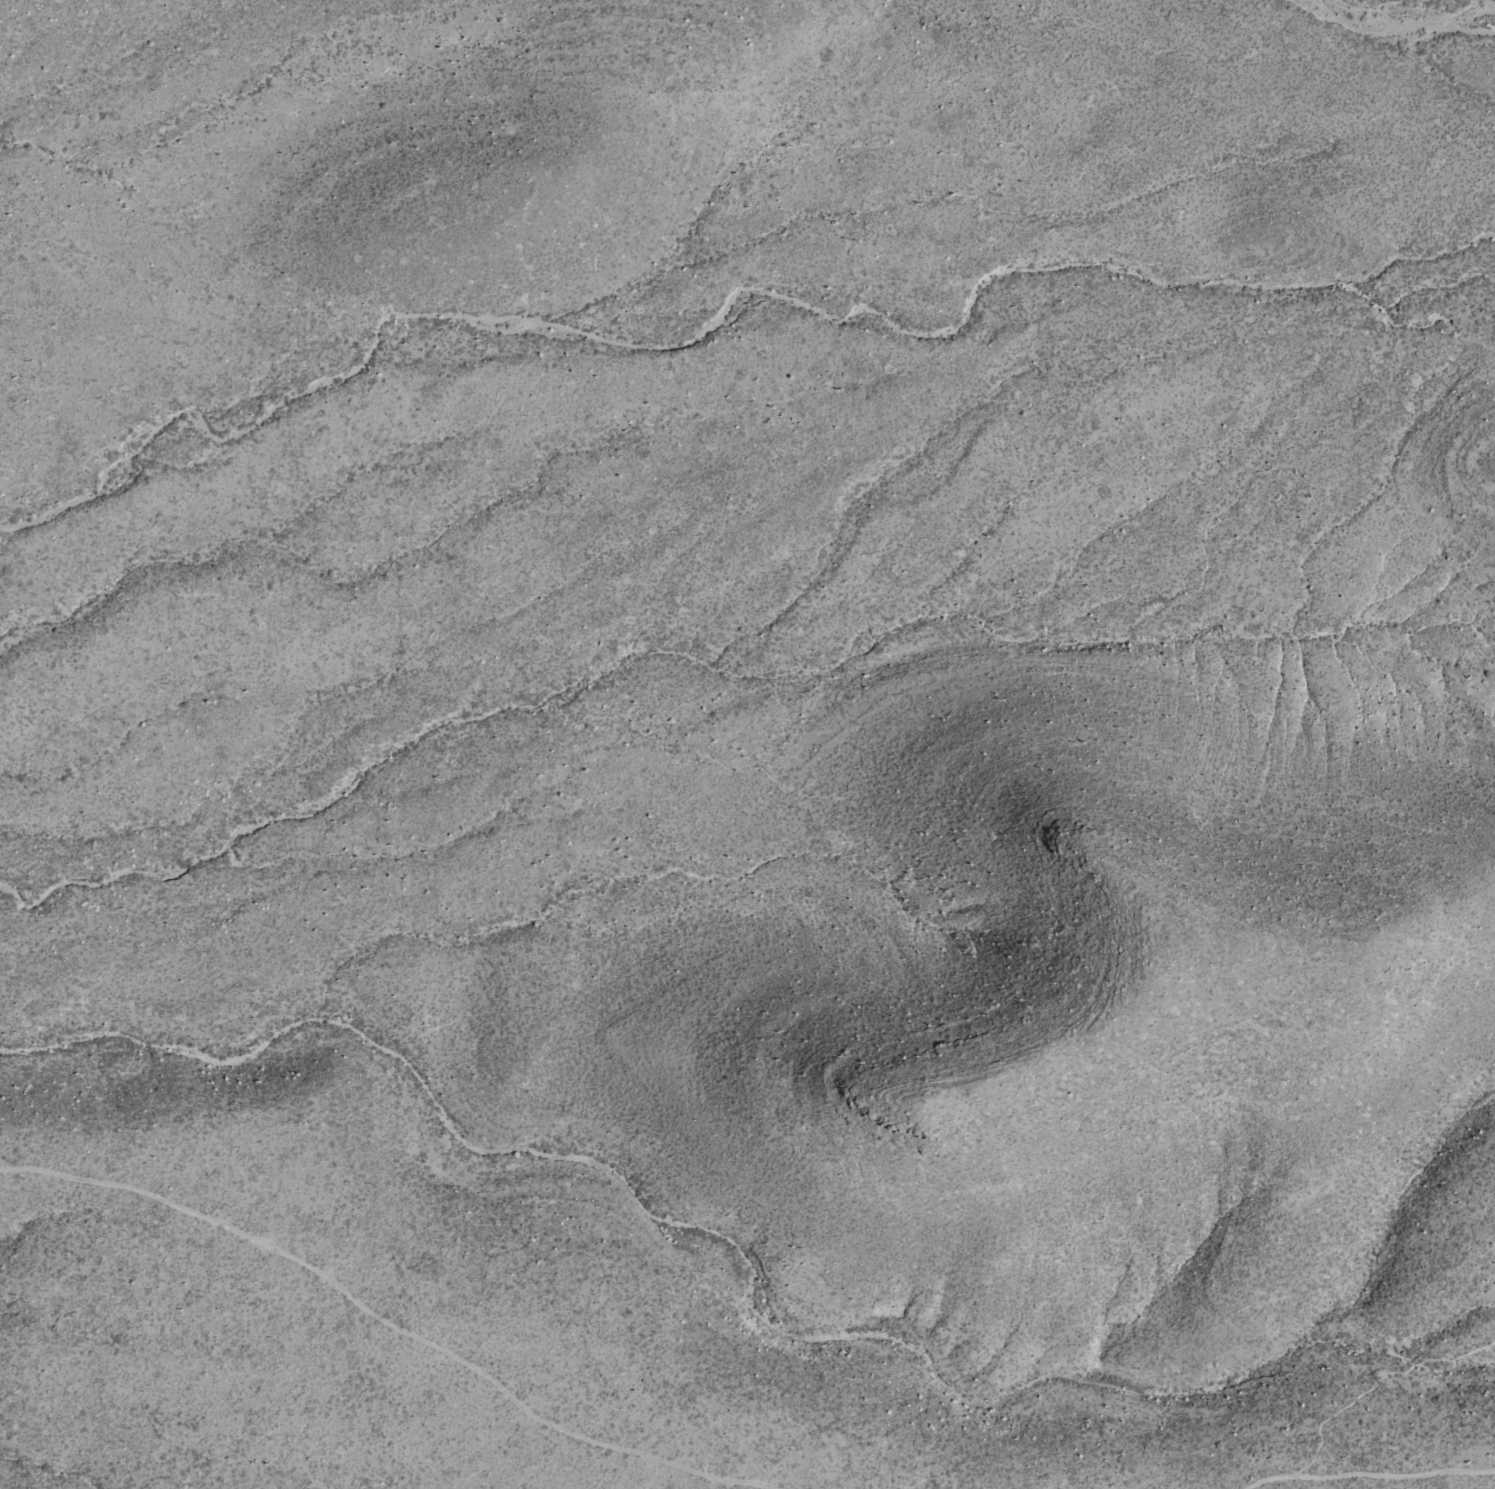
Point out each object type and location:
road: (1359, 1399)
road: (1392, 1477)

